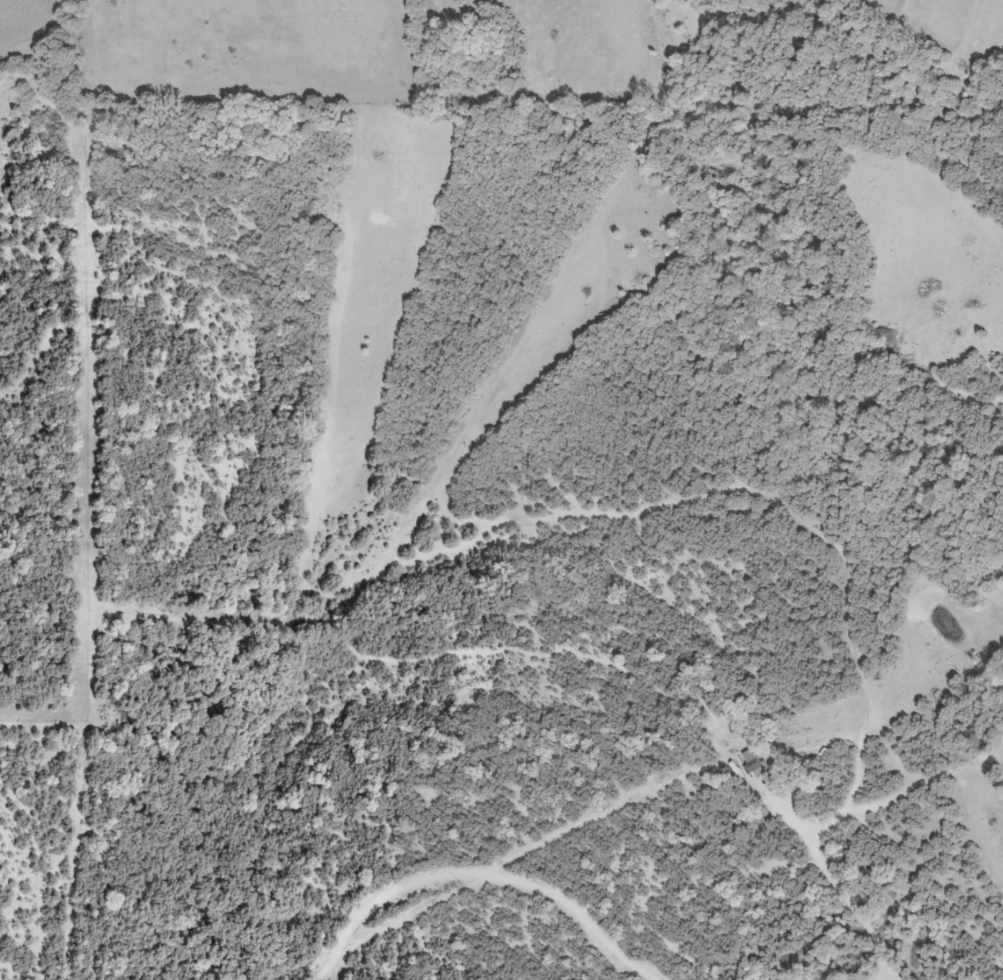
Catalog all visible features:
building: (751, 764)
road: (392, 865)
road: (841, 895)
road: (360, 971)

